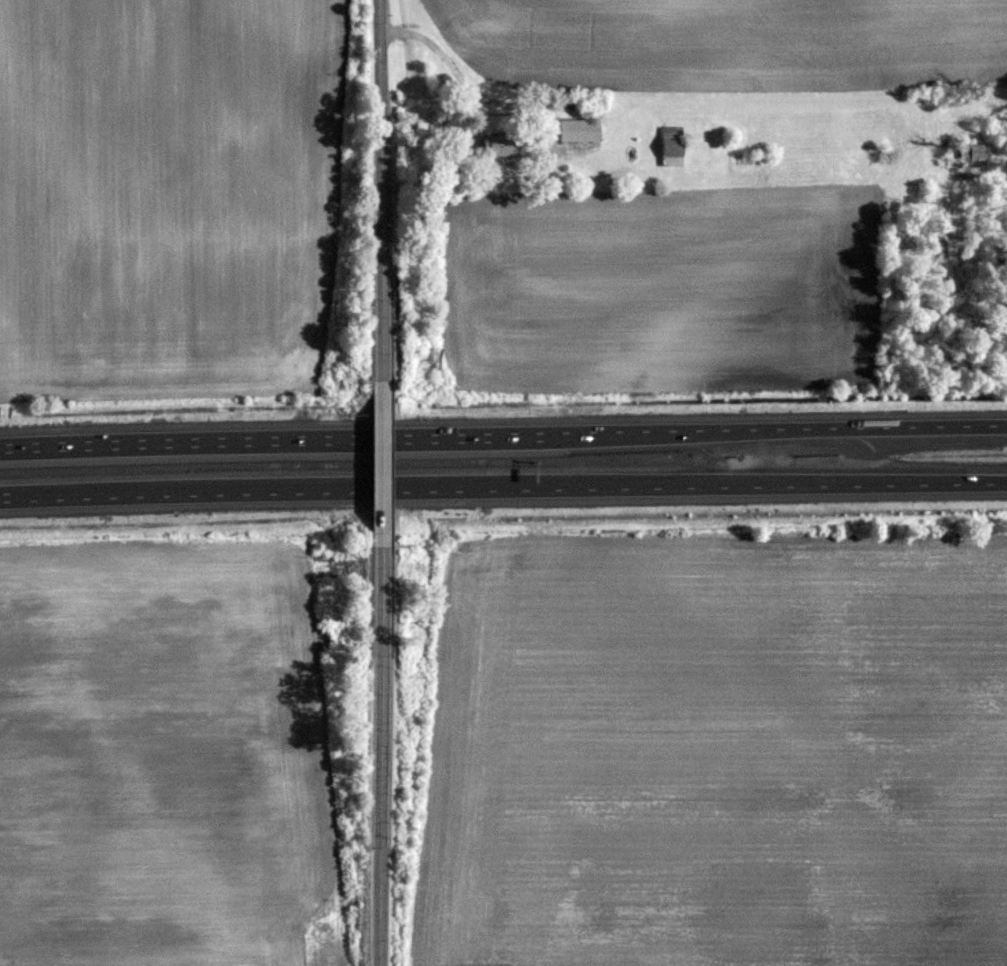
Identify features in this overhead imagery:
road: (455, 73)
building: (577, 131)
building: (499, 146)
building: (670, 146)
road: (378, 197)
road: (503, 433)
road: (378, 464)
road: (503, 489)
road: (378, 749)
building: (340, 930)

